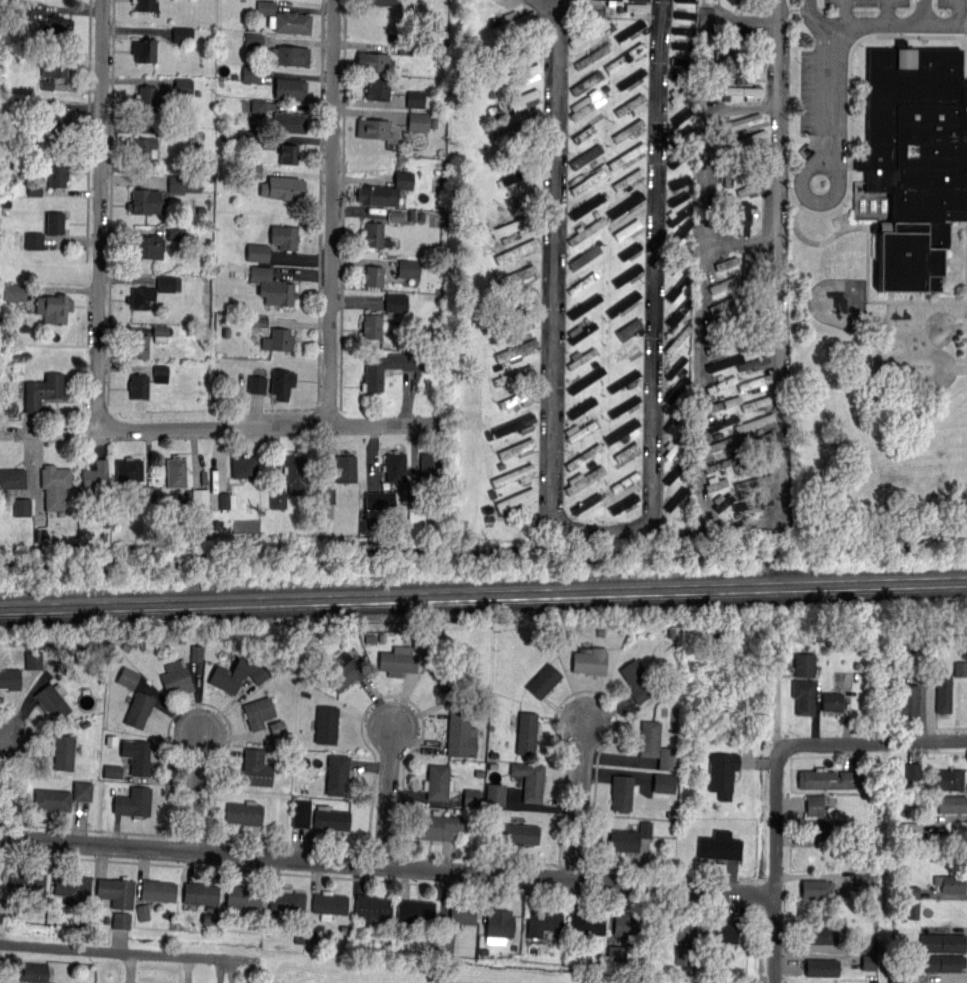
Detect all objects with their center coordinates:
building: (686, 0)
building: (376, 2)
building: (611, 2)
parking lot: (867, 2)
parking lot: (952, 3)
building: (749, 4)
building: (145, 5)
building: (635, 6)
building: (23, 9)
building: (684, 13)
road: (845, 13)
road: (887, 13)
road: (923, 13)
road: (958, 13)
building: (705, 16)
building: (283, 18)
building: (514, 21)
building: (56, 27)
road: (878, 27)
building: (629, 29)
building: (681, 29)
building: (588, 30)
building: (182, 34)
building: (736, 34)
building: (253, 40)
building: (682, 45)
building: (520, 47)
building: (144, 49)
building: (289, 54)
building: (629, 54)
building: (732, 54)
building: (373, 61)
building: (681, 61)
building: (51, 72)
building: (520, 72)
building: (741, 72)
building: (679, 73)
building: (249, 75)
building: (631, 76)
building: (588, 80)
building: (713, 81)
building: (183, 86)
building: (288, 87)
building: (376, 87)
building: (679, 90)
parking lot: (811, 91)
building: (741, 92)
building: (522, 96)
road: (825, 96)
building: (147, 98)
building: (415, 99)
building: (629, 104)
building: (586, 106)
building: (258, 107)
building: (681, 115)
building: (288, 121)
building: (418, 121)
building: (738, 122)
building: (517, 124)
building: (54, 126)
building: (372, 128)
building: (627, 129)
building: (581, 135)
building: (679, 135)
building: (749, 137)
building: (720, 143)
building: (738, 144)
building: (143, 148)
building: (517, 148)
road: (703, 149)
building: (288, 153)
building: (626, 153)
building: (748, 153)
building: (585, 155)
building: (680, 157)
building: (915, 159)
building: (751, 168)
building: (519, 173)
building: (726, 173)
building: (56, 174)
building: (628, 177)
building: (588, 180)
building: (678, 181)
building: (183, 183)
building: (282, 186)
road: (838, 187)
building: (748, 188)
building: (34, 189)
building: (383, 190)
building: (521, 197)
building: (677, 198)
building: (144, 201)
building: (624, 204)
building: (586, 206)
road: (332, 211)
building: (728, 213)
road: (100, 216)
building: (395, 216)
building: (676, 216)
building: (745, 218)
building: (55, 222)
building: (513, 224)
building: (627, 229)
building: (586, 231)
building: (175, 233)
building: (372, 233)
building: (678, 233)
building: (284, 236)
building: (33, 241)
road: (740, 244)
building: (147, 247)
building: (524, 247)
road: (548, 251)
building: (627, 251)
building: (257, 252)
building: (826, 254)
building: (585, 255)
building: (678, 260)
building: (727, 263)
building: (408, 268)
building: (745, 271)
building: (627, 274)
building: (372, 275)
building: (514, 275)
building: (527, 277)
building: (582, 282)
building: (723, 283)
building: (270, 286)
building: (677, 287)
building: (151, 291)
building: (14, 292)
building: (517, 298)
building: (721, 301)
building: (756, 301)
building: (395, 302)
building: (621, 302)
building: (583, 305)
building: (53, 307)
building: (678, 313)
road: (658, 315)
building: (753, 321)
building: (723, 322)
building: (371, 326)
building: (629, 327)
building: (581, 332)
building: (276, 339)
building: (676, 339)
building: (756, 342)
building: (721, 345)
building: (137, 346)
building: (517, 349)
building: (626, 353)
building: (581, 357)
building: (753, 362)
building: (723, 363)
building: (677, 364)
building: (160, 371)
building: (373, 371)
building: (513, 374)
building: (622, 380)
building: (582, 381)
building: (281, 382)
building: (754, 382)
building: (256, 384)
building: (721, 384)
building: (138, 385)
building: (676, 389)
building: (42, 391)
building: (517, 398)
building: (755, 402)
building: (623, 405)
building: (719, 405)
building: (581, 407)
building: (676, 416)
building: (756, 420)
road: (781, 421)
building: (721, 423)
building: (513, 424)
road: (229, 426)
building: (583, 430)
building: (621, 431)
building: (754, 439)
building: (719, 443)
building: (675, 445)
building: (516, 448)
building: (621, 454)
building: (583, 456)
building: (753, 460)
building: (719, 464)
building: (243, 466)
building: (393, 466)
building: (428, 466)
building: (345, 467)
building: (128, 469)
building: (675, 470)
building: (175, 471)
building: (295, 473)
building: (95, 474)
building: (514, 474)
building: (12, 478)
building: (625, 478)
building: (583, 479)
building: (755, 481)
building: (715, 484)
building: (54, 486)
building: (200, 497)
building: (675, 498)
building: (278, 499)
building: (227, 500)
building: (379, 500)
building: (723, 500)
building: (516, 502)
building: (587, 503)
building: (623, 503)
building: (752, 503)
building: (21, 507)
railway: (483, 591)
railway: (483, 599)
building: (196, 653)
building: (33, 658)
building: (397, 660)
building: (588, 660)
building: (804, 664)
building: (960, 669)
building: (343, 671)
building: (237, 674)
building: (10, 677)
building: (127, 677)
building: (175, 677)
building: (447, 679)
building: (542, 680)
building: (637, 680)
building: (941, 688)
building: (802, 696)
building: (52, 700)
building: (907, 700)
building: (831, 701)
building: (138, 709)
building: (257, 711)
building: (325, 724)
building: (276, 727)
building: (525, 732)
building: (460, 734)
road: (872, 740)
building: (654, 744)
building: (62, 751)
building: (138, 755)
building: (255, 768)
building: (111, 771)
building: (913, 771)
building: (336, 774)
building: (721, 774)
building: (830, 778)
building: (950, 778)
building: (528, 780)
building: (436, 781)
road: (3, 782)
building: (664, 783)
building: (82, 790)
building: (621, 791)
road: (195, 792)
building: (495, 794)
road: (387, 795)
building: (471, 797)
building: (51, 799)
road: (580, 800)
building: (133, 802)
building: (952, 803)
building: (813, 805)
building: (243, 812)
building: (300, 813)
building: (330, 818)
building: (437, 825)
building: (817, 829)
building: (911, 829)
building: (520, 833)
building: (623, 840)
building: (718, 845)
road: (775, 862)
road: (387, 866)
building: (862, 880)
building: (950, 882)
building: (26, 884)
building: (816, 887)
building: (72, 888)
building: (156, 889)
building: (116, 891)
building: (199, 892)
building: (243, 896)
building: (285, 900)
building: (327, 903)
building: (370, 908)
building: (415, 910)
building: (142, 912)
building: (462, 912)
building: (208, 918)
building: (121, 920)
building: (542, 920)
building: (498, 921)
building: (586, 923)
building: (630, 924)
building: (672, 928)
building: (719, 931)
building: (822, 934)
building: (940, 939)
building: (445, 942)
building: (616, 952)
building: (683, 955)
road: (130, 957)
building: (868, 961)
building: (944, 962)
building: (820, 967)
building: (32, 972)
building: (897, 980)

